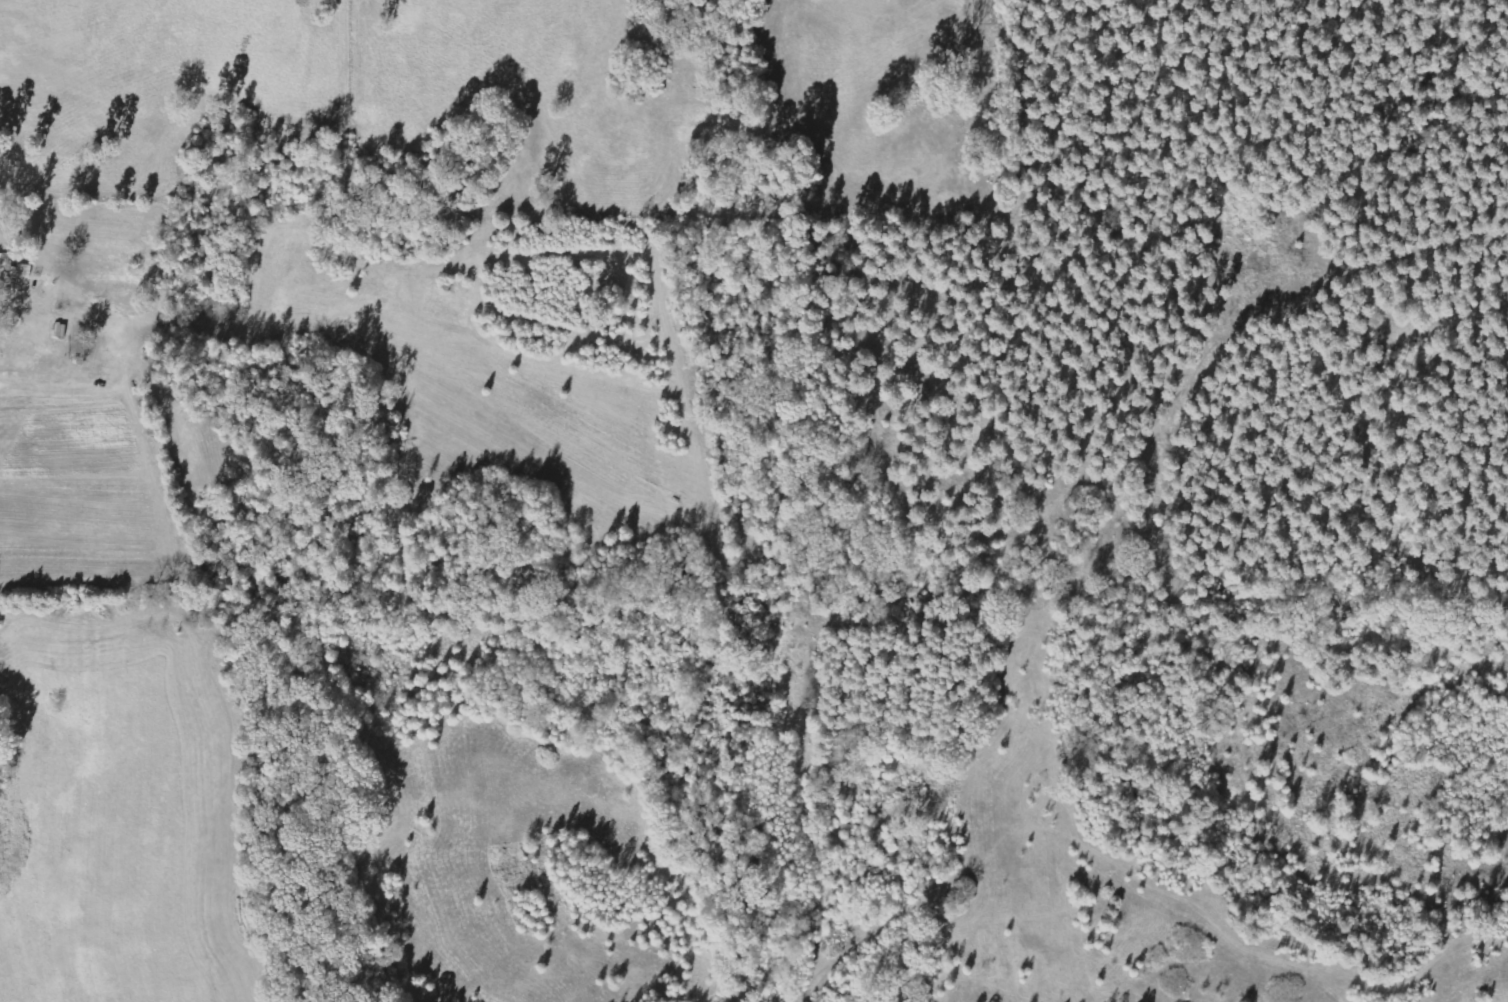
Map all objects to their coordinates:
road: (210, 719)

